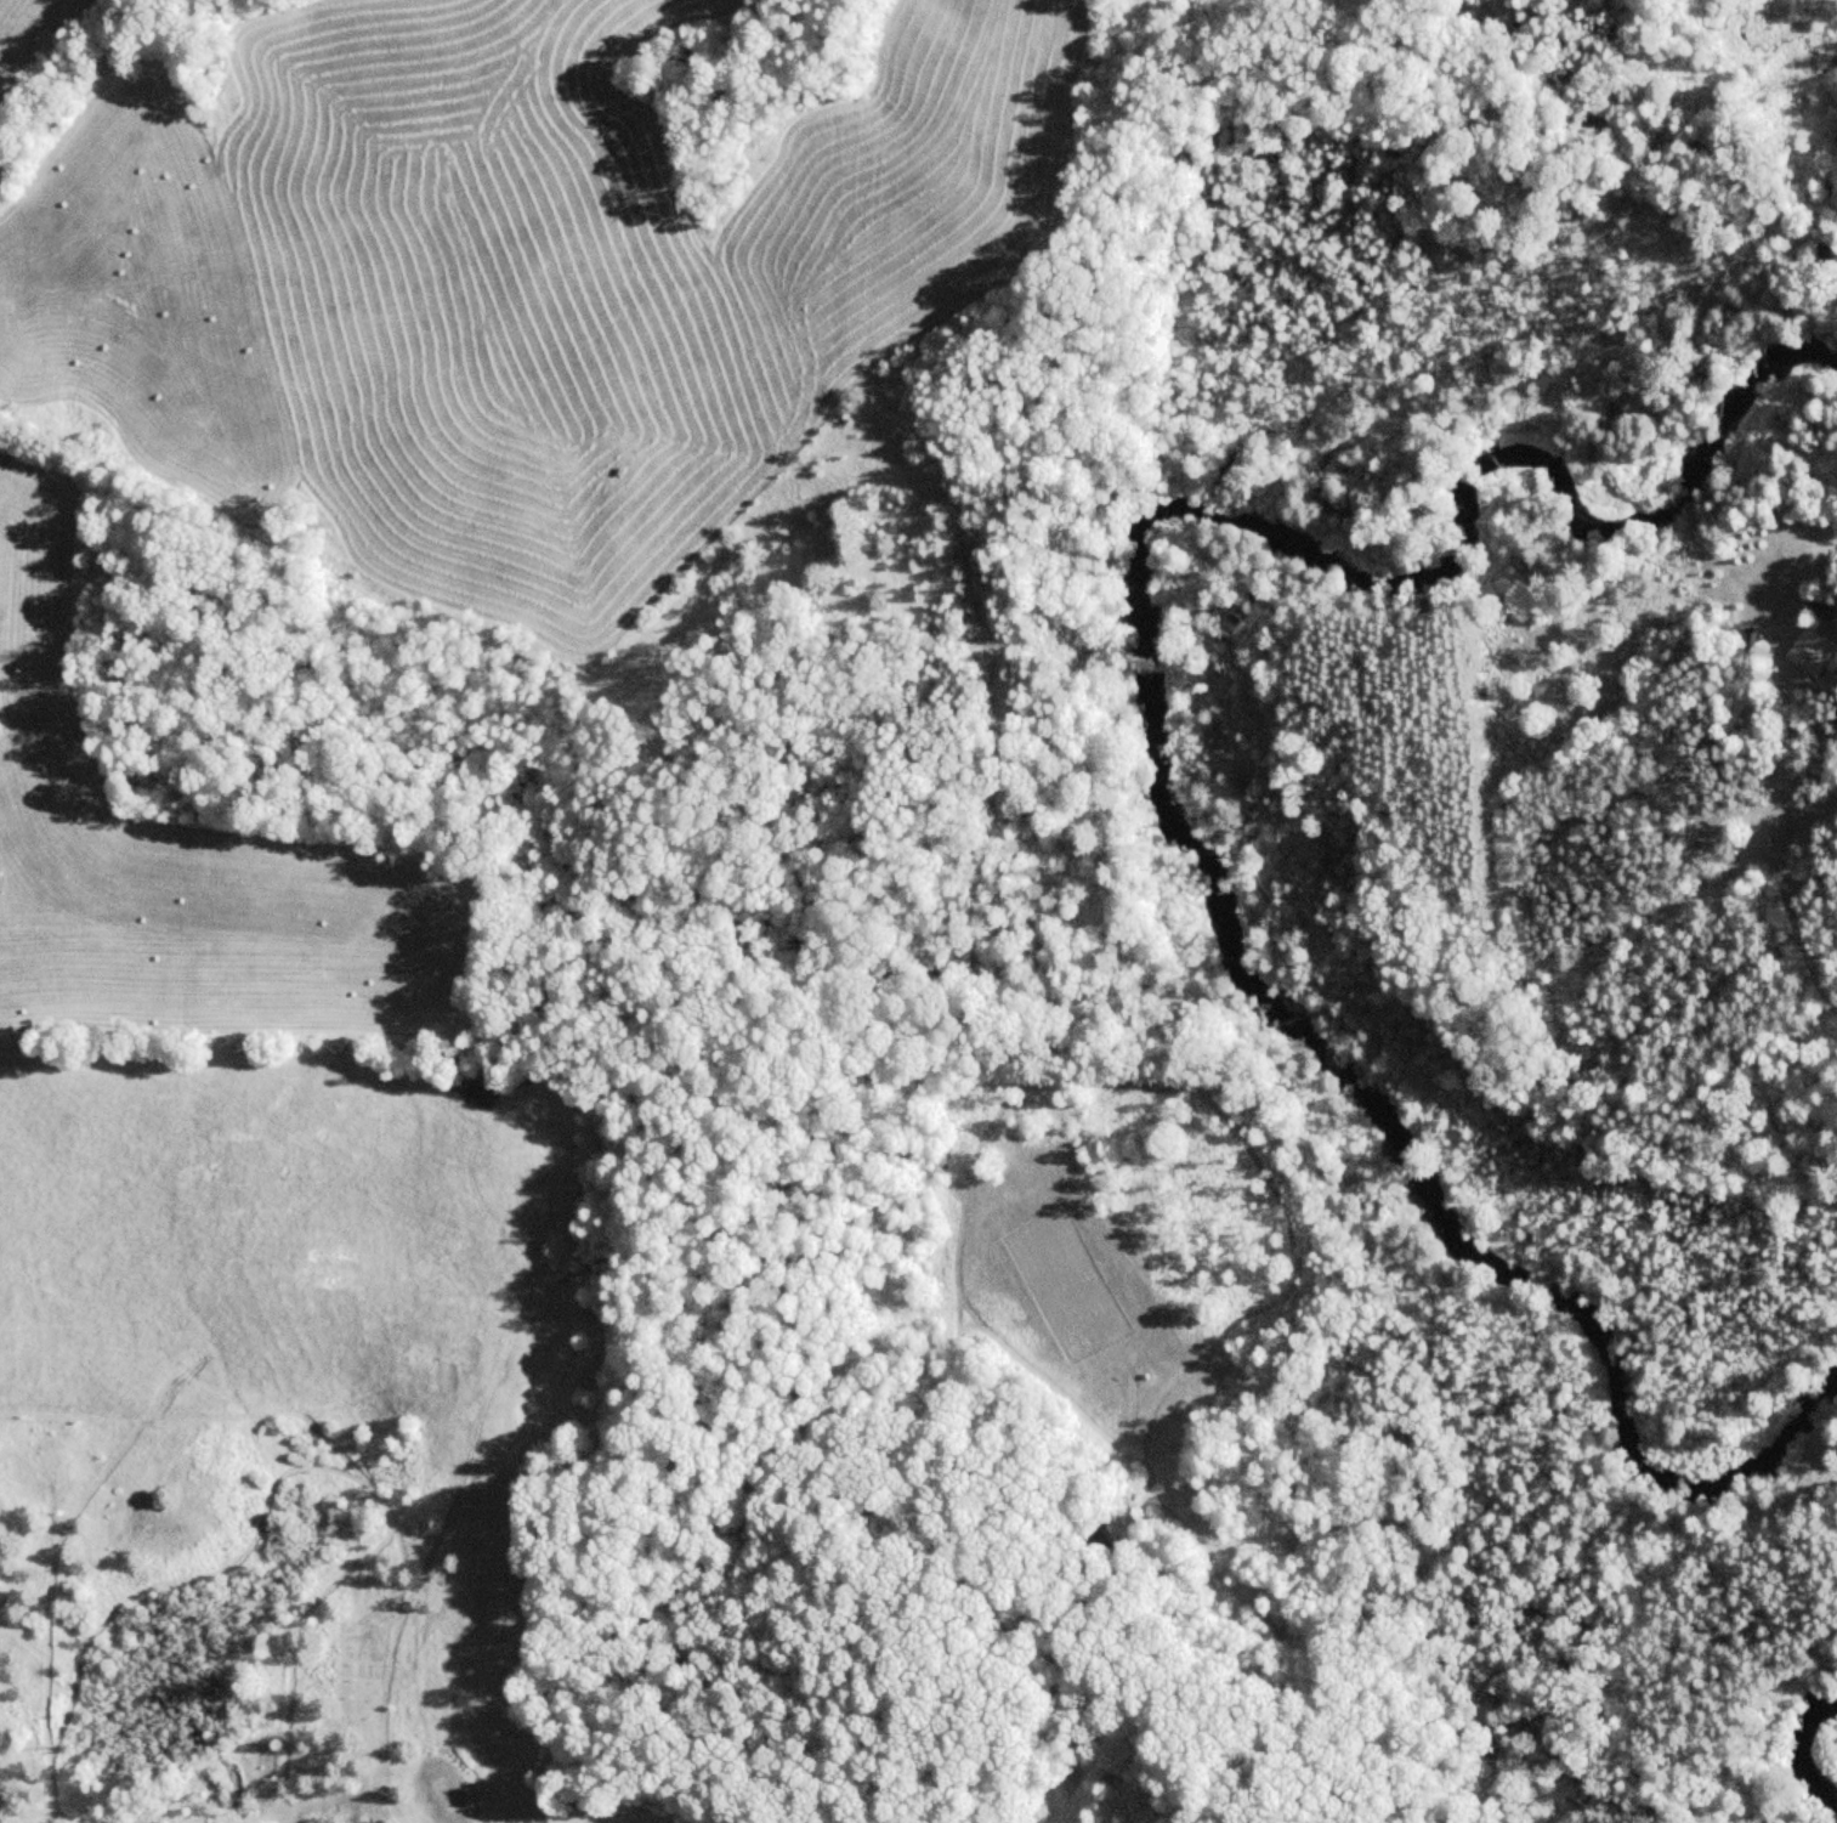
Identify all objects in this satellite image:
river: (1187, 747)
road: (1787, 899)
river: (1818, 1767)

